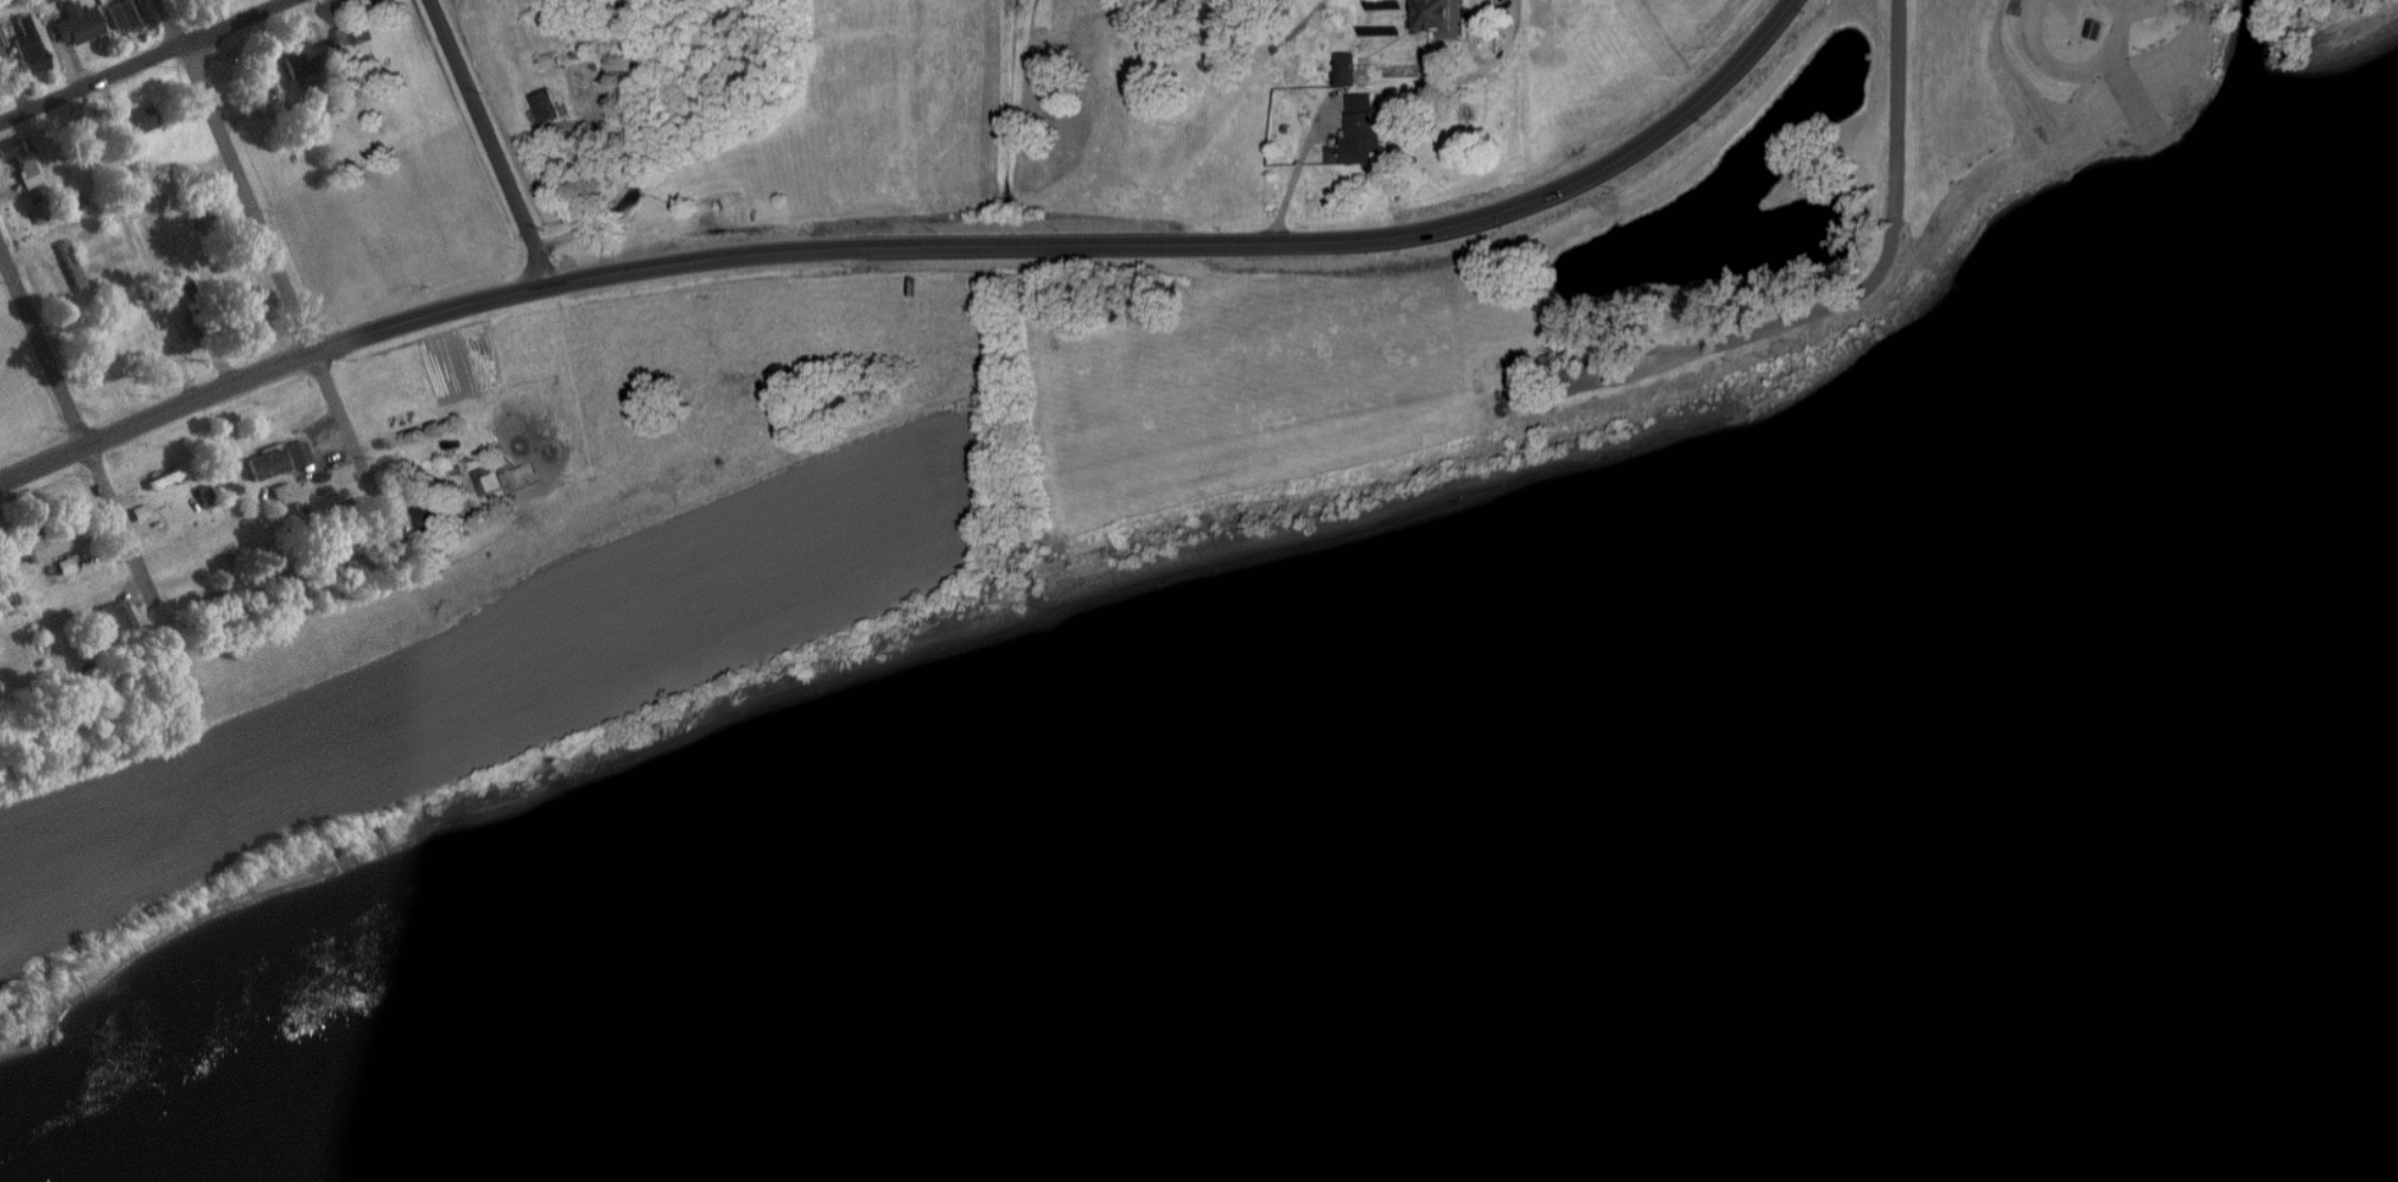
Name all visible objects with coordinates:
building: (46, 1)
building: (123, 15)
building: (1443, 17)
building: (76, 24)
building: (2095, 30)
building: (350, 33)
building: (28, 47)
building: (310, 59)
road: (145, 61)
building: (1347, 71)
road: (2076, 75)
road: (636, 77)
road: (1350, 82)
building: (263, 91)
road: (1898, 102)
building: (547, 107)
building: (139, 120)
building: (1360, 134)
road: (490, 142)
building: (21, 161)
building: (39, 215)
road: (605, 218)
road: (916, 240)
road: (274, 263)
road: (1779, 330)
road: (77, 420)
building: (297, 455)
building: (266, 465)
building: (488, 481)
building: (279, 491)
building: (140, 513)
building: (427, 516)
building: (52, 541)
building: (355, 568)
building: (220, 600)
building: (117, 617)
river: (2301, 1151)

